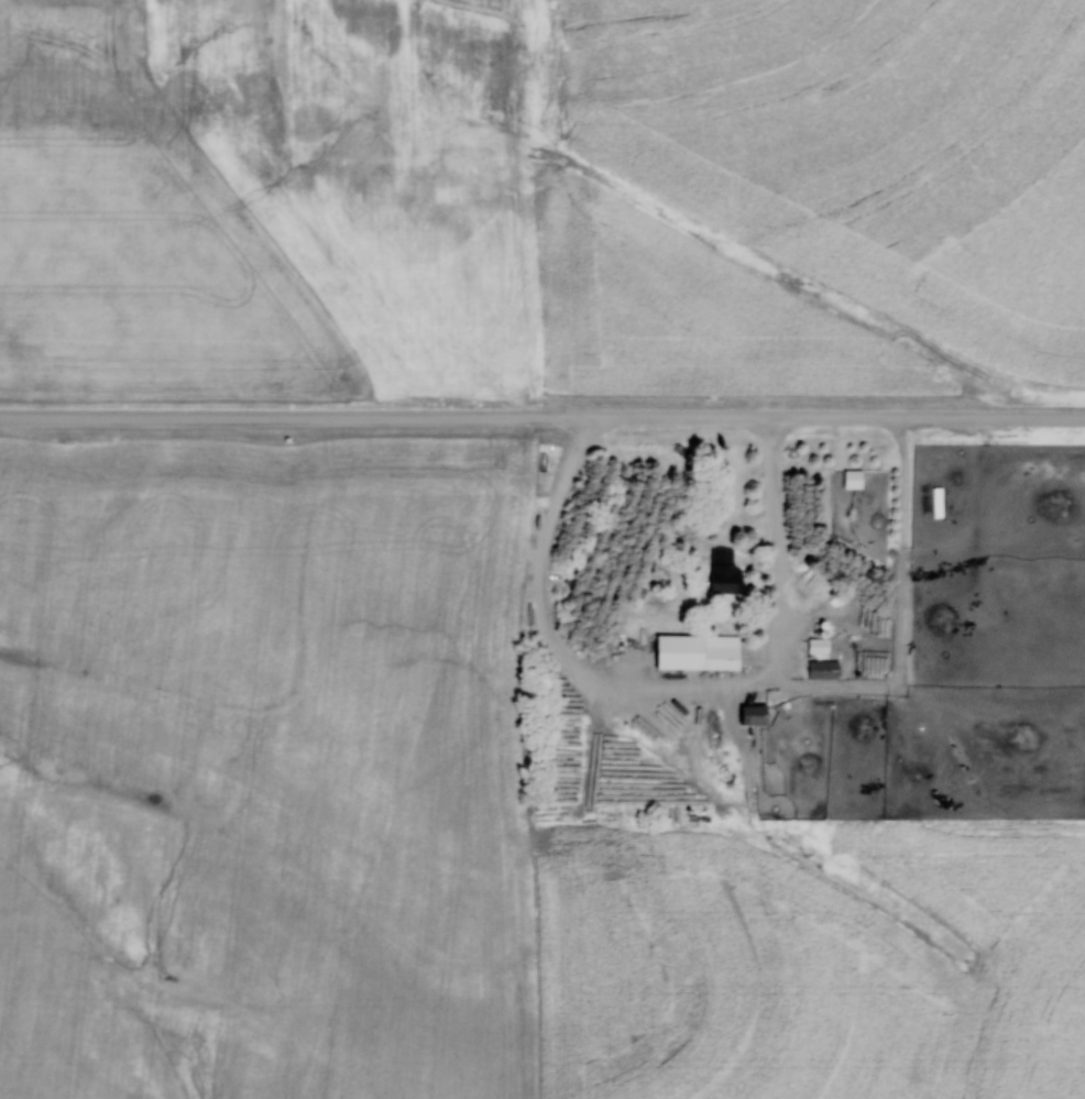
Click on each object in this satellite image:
road: (541, 419)
building: (852, 480)
building: (722, 572)
building: (817, 647)
building: (701, 656)
building: (822, 670)
road: (677, 691)
building: (752, 716)

